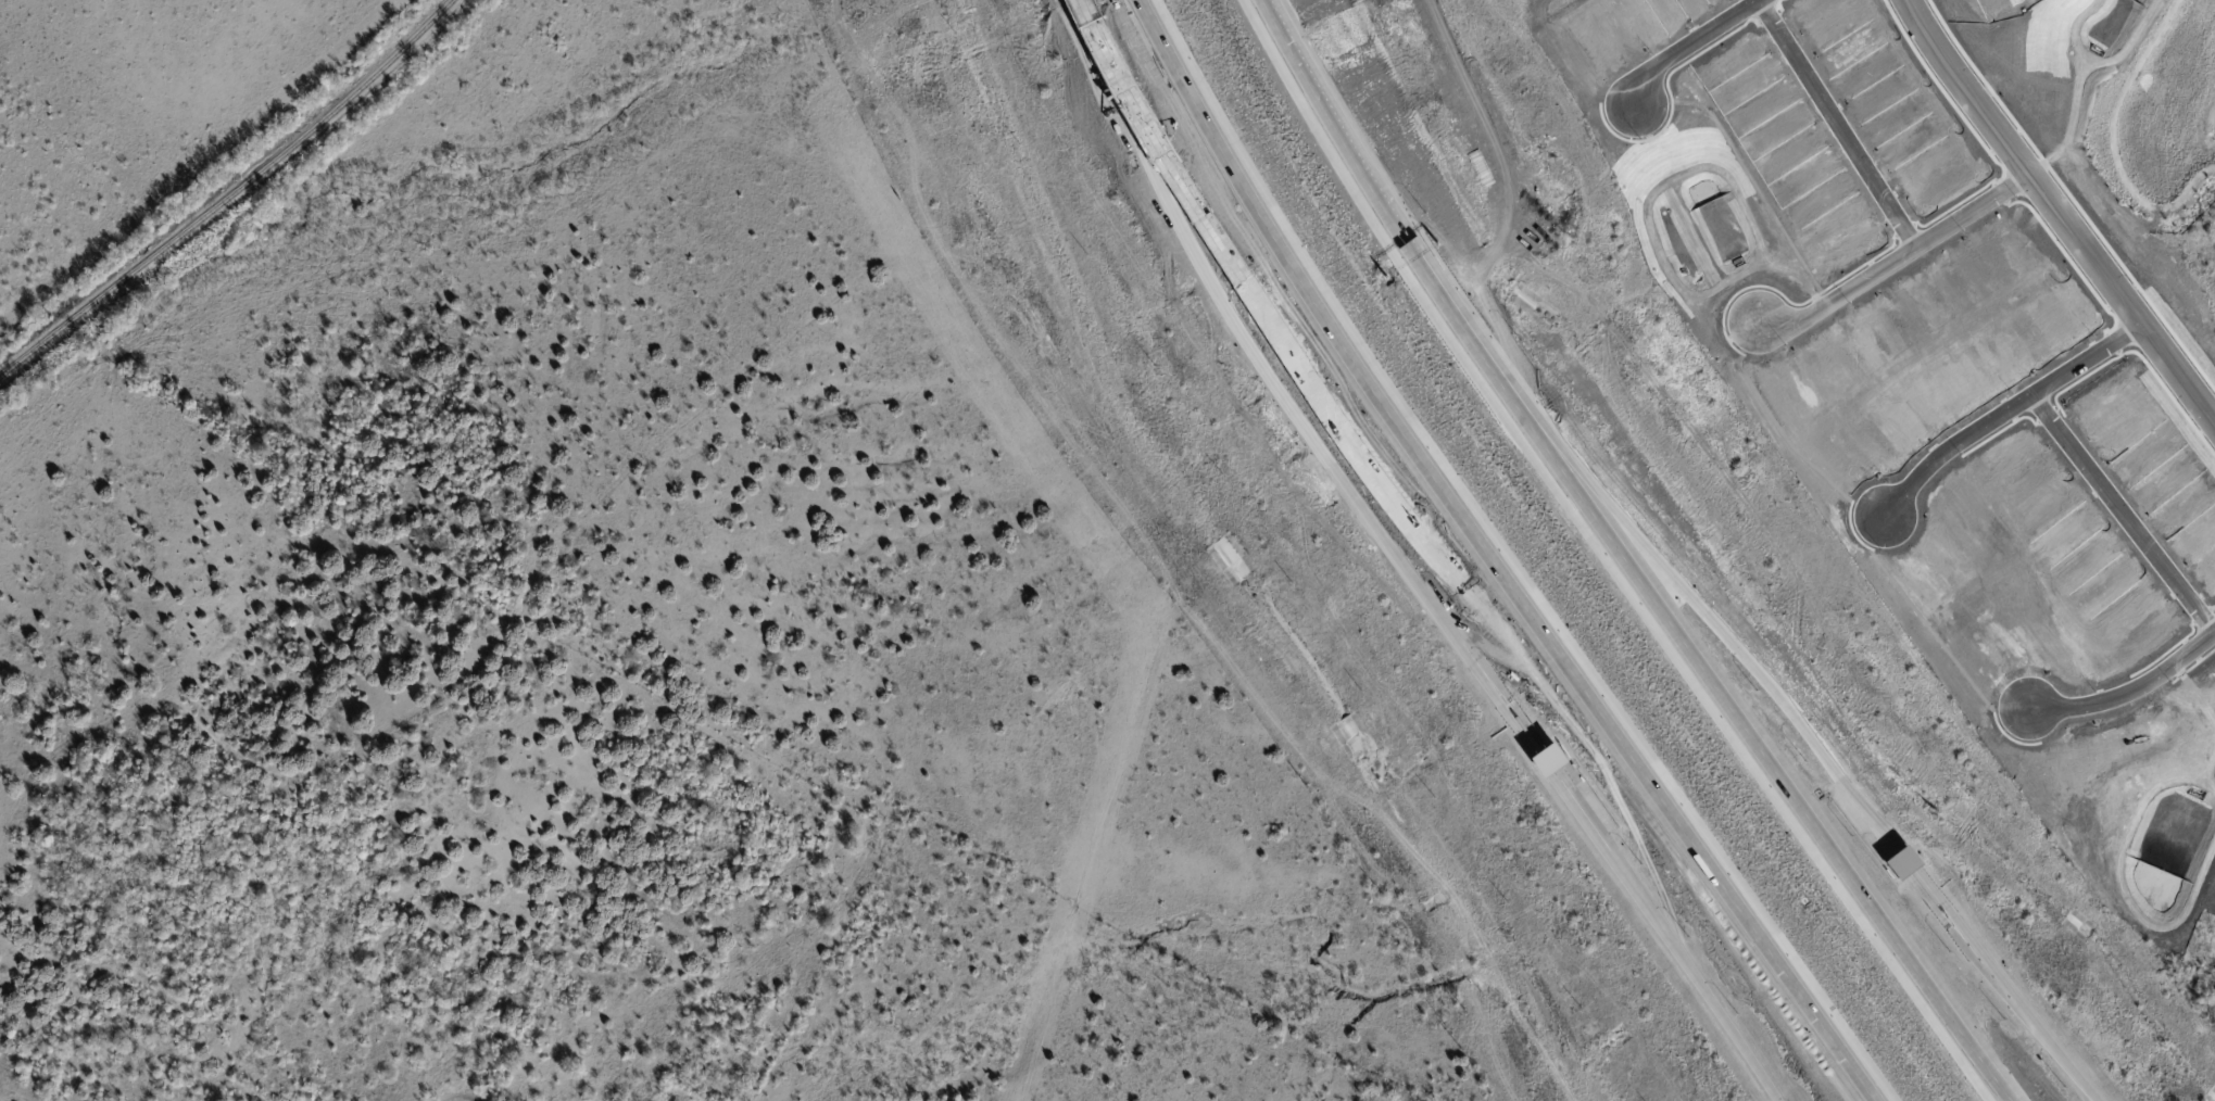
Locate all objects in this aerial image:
road: (1079, 3)
road: (1690, 49)
road: (1838, 126)
road: (1172, 166)
road: (1370, 184)
railway: (232, 195)
road: (2061, 210)
road: (1898, 260)
road: (1280, 393)
road: (2006, 412)
road: (2124, 514)
road: (1490, 561)
road: (1695, 600)
road: (1471, 603)
road: (2127, 693)
road: (1747, 732)
building: (1547, 760)
road: (1540, 764)
road: (1908, 858)
building: (1901, 862)
road: (1667, 936)
road: (2004, 986)

